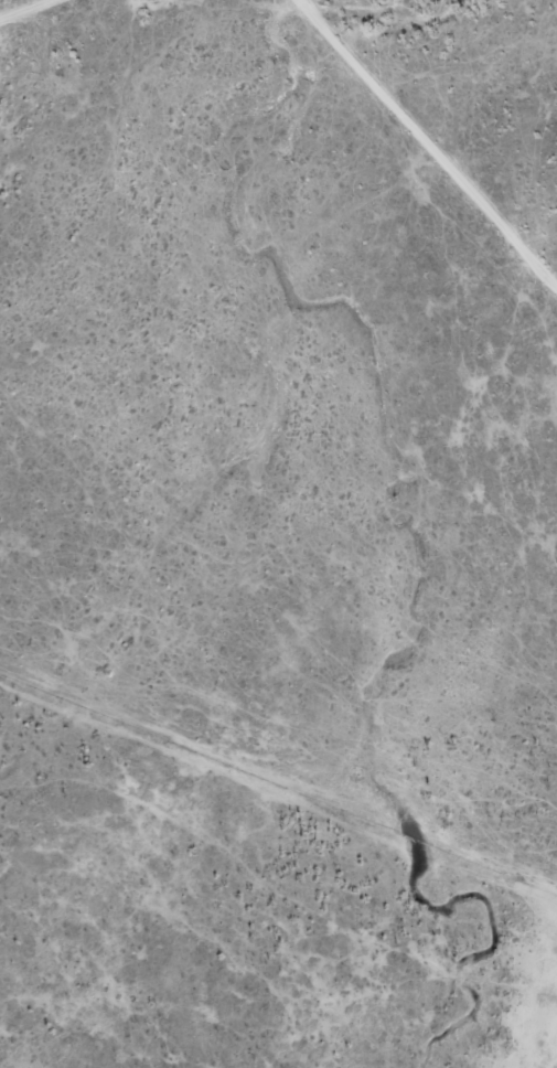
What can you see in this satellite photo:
road: (403, 170)
road: (277, 765)

